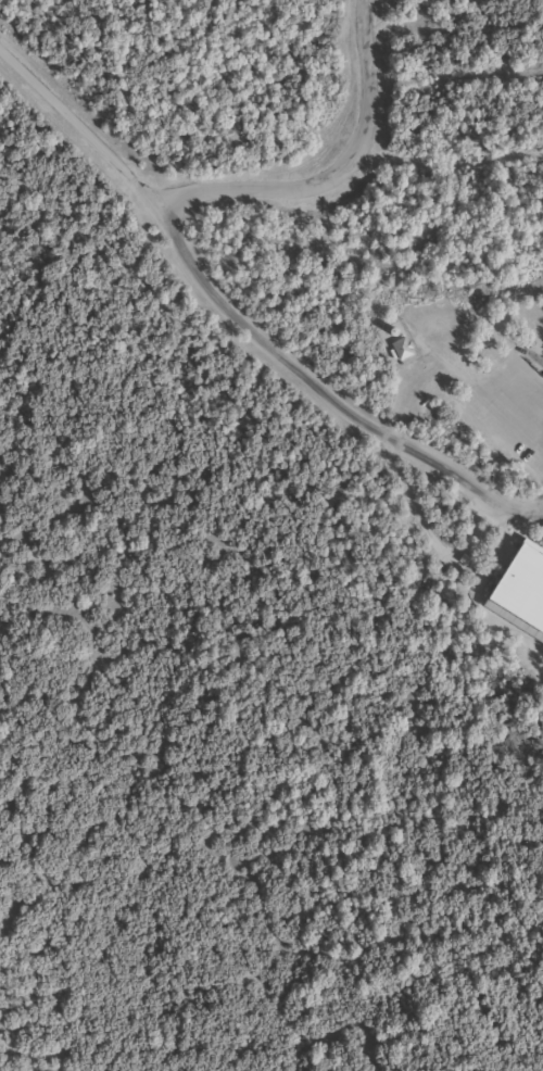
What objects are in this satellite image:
road: (81, 130)
road: (191, 268)
building: (390, 330)
building: (400, 348)
building: (389, 354)
parking lot: (509, 411)
building: (518, 592)

